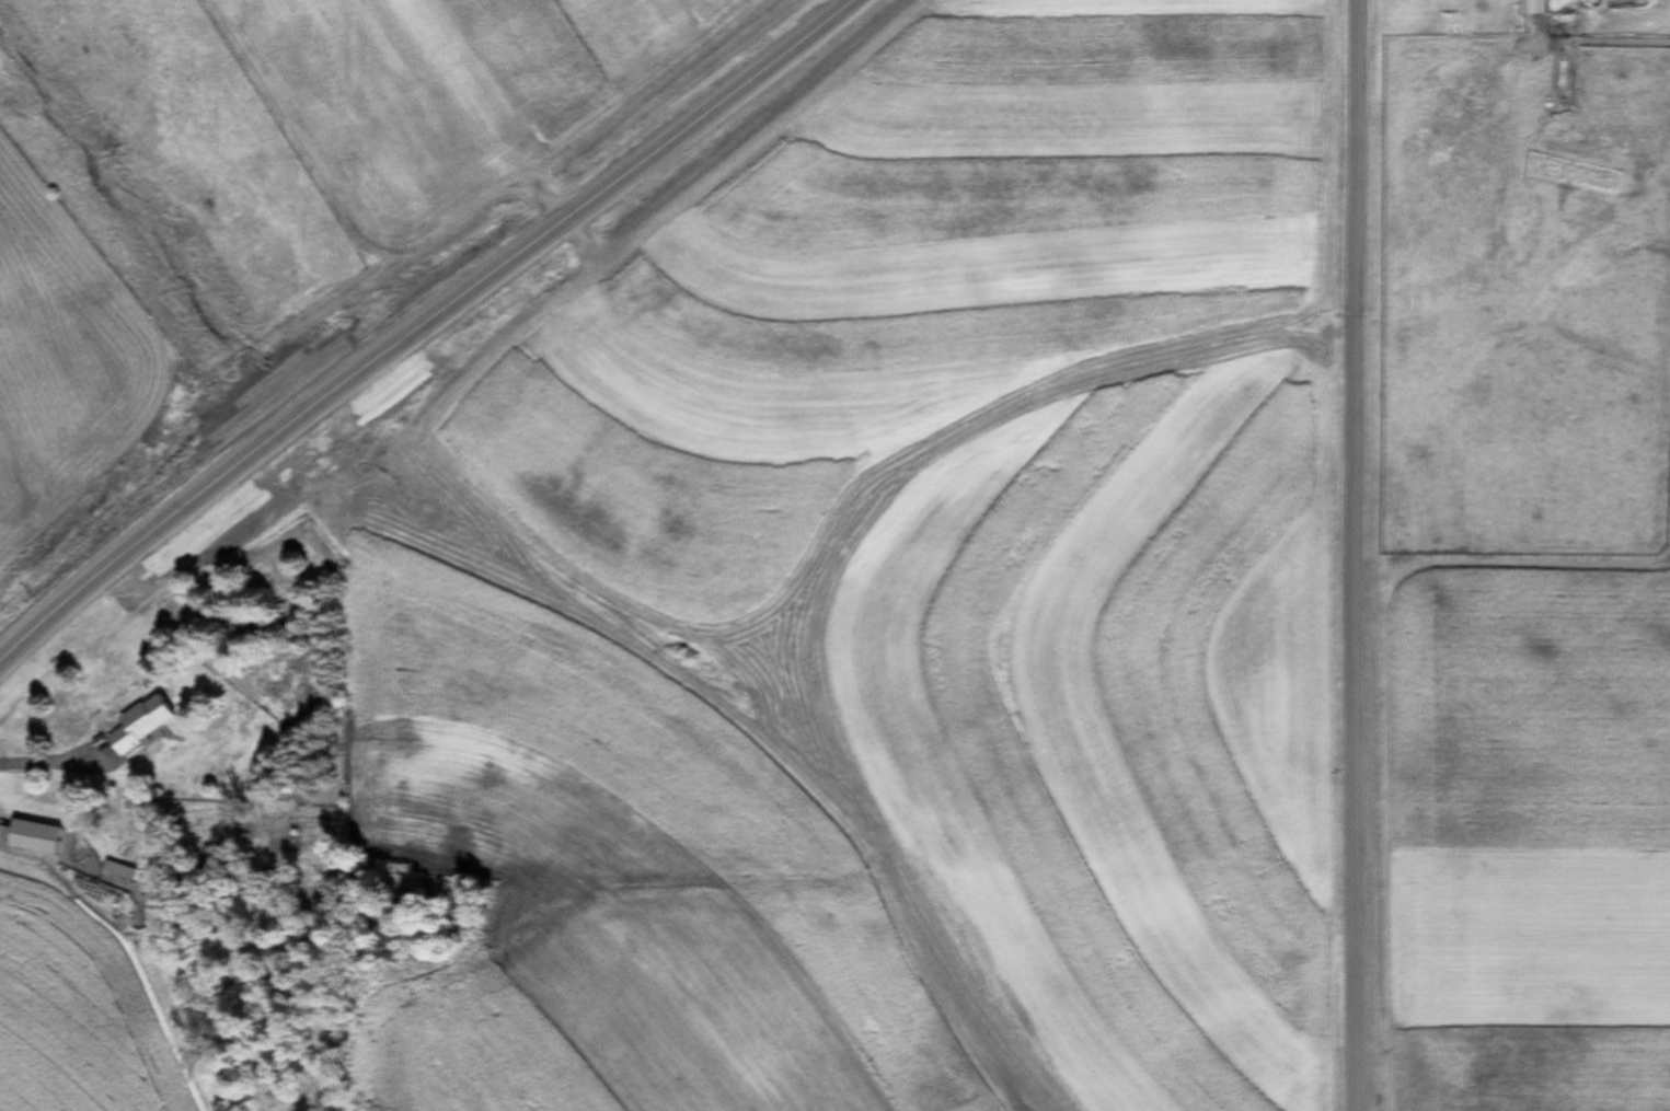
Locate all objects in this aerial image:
building: (1612, 0)
building: (1529, 8)
road: (449, 299)
road: (1352, 555)
road: (28, 636)
building: (139, 724)
road: (47, 764)
building: (31, 836)

